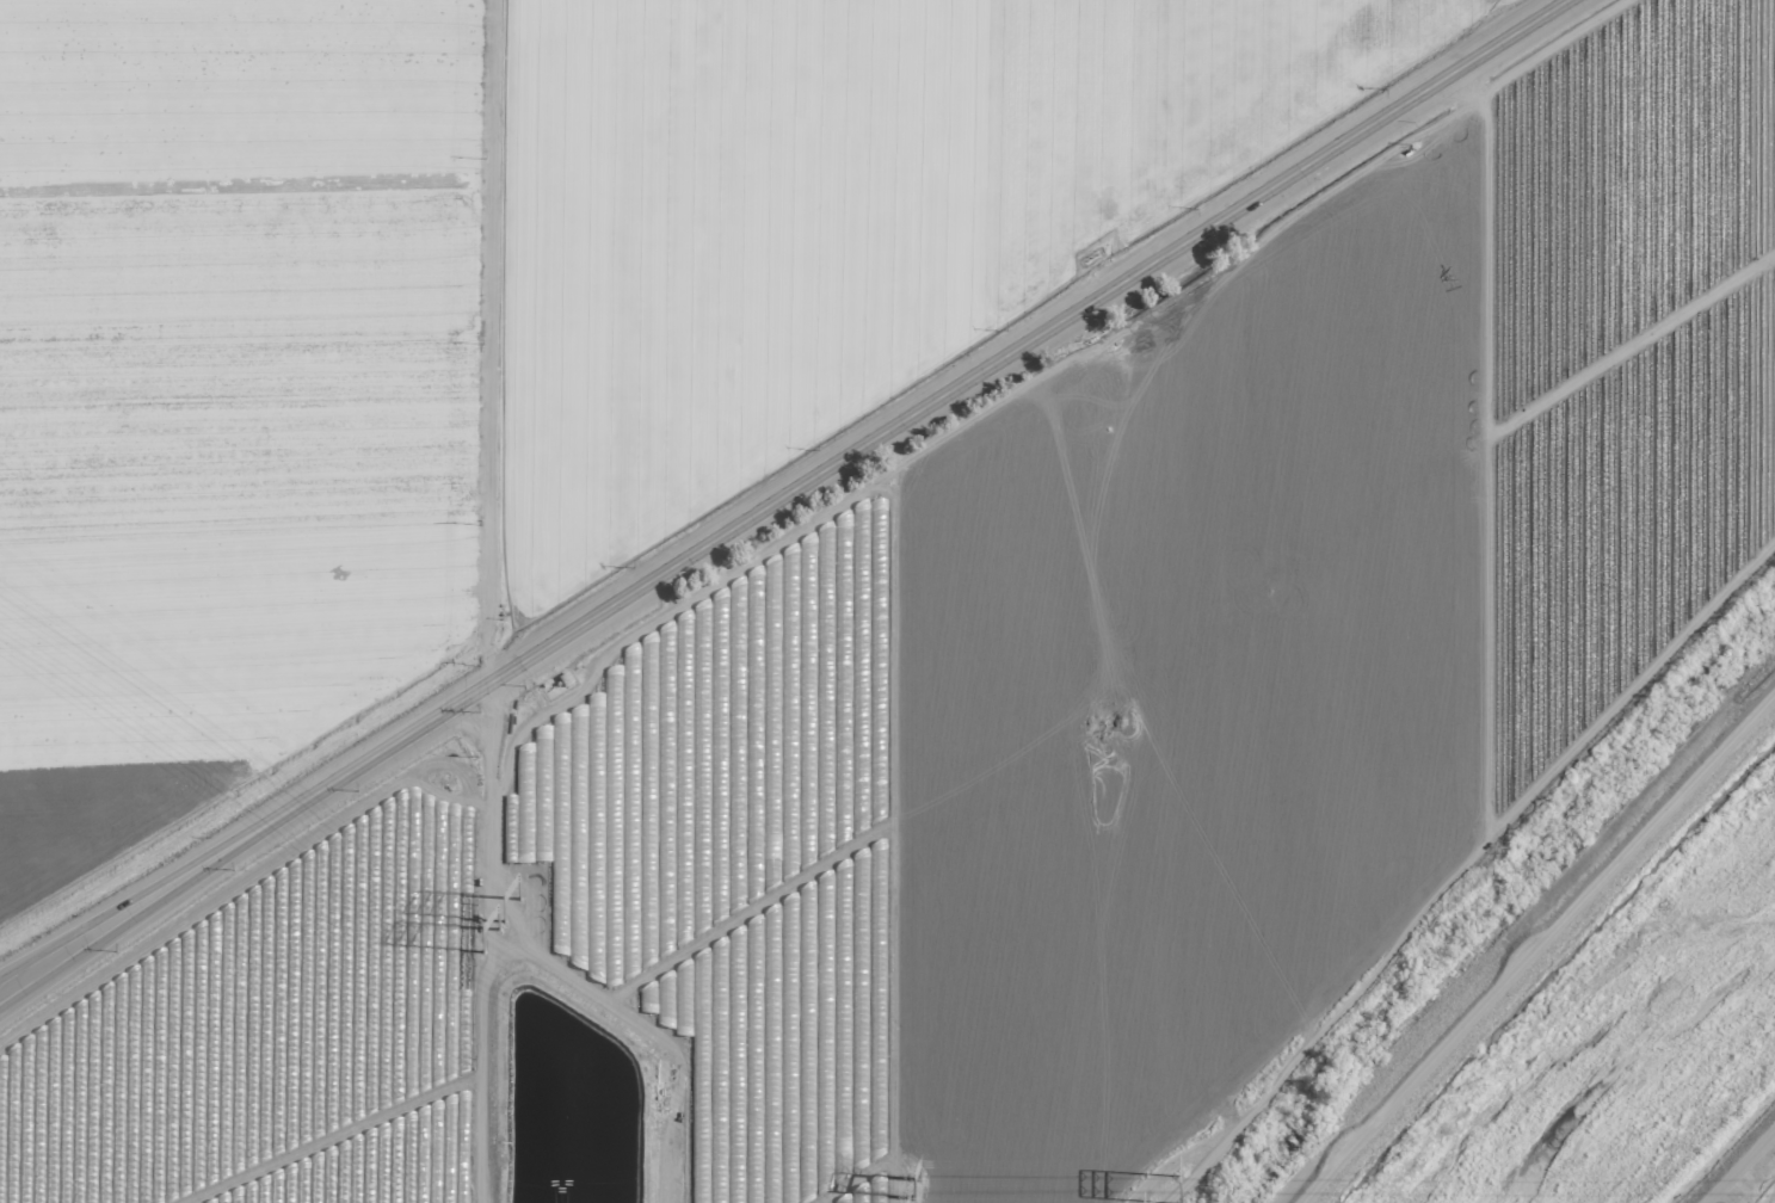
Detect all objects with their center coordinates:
crop: (497, 316)
road: (781, 498)
crop: (1048, 709)
power tower: (522, 900)
power tower: (500, 931)
road: (488, 944)
river: (1658, 1075)
road: (1744, 1171)
power tower: (1175, 1185)
power tower: (919, 1192)
crop: (1769, 1197)

